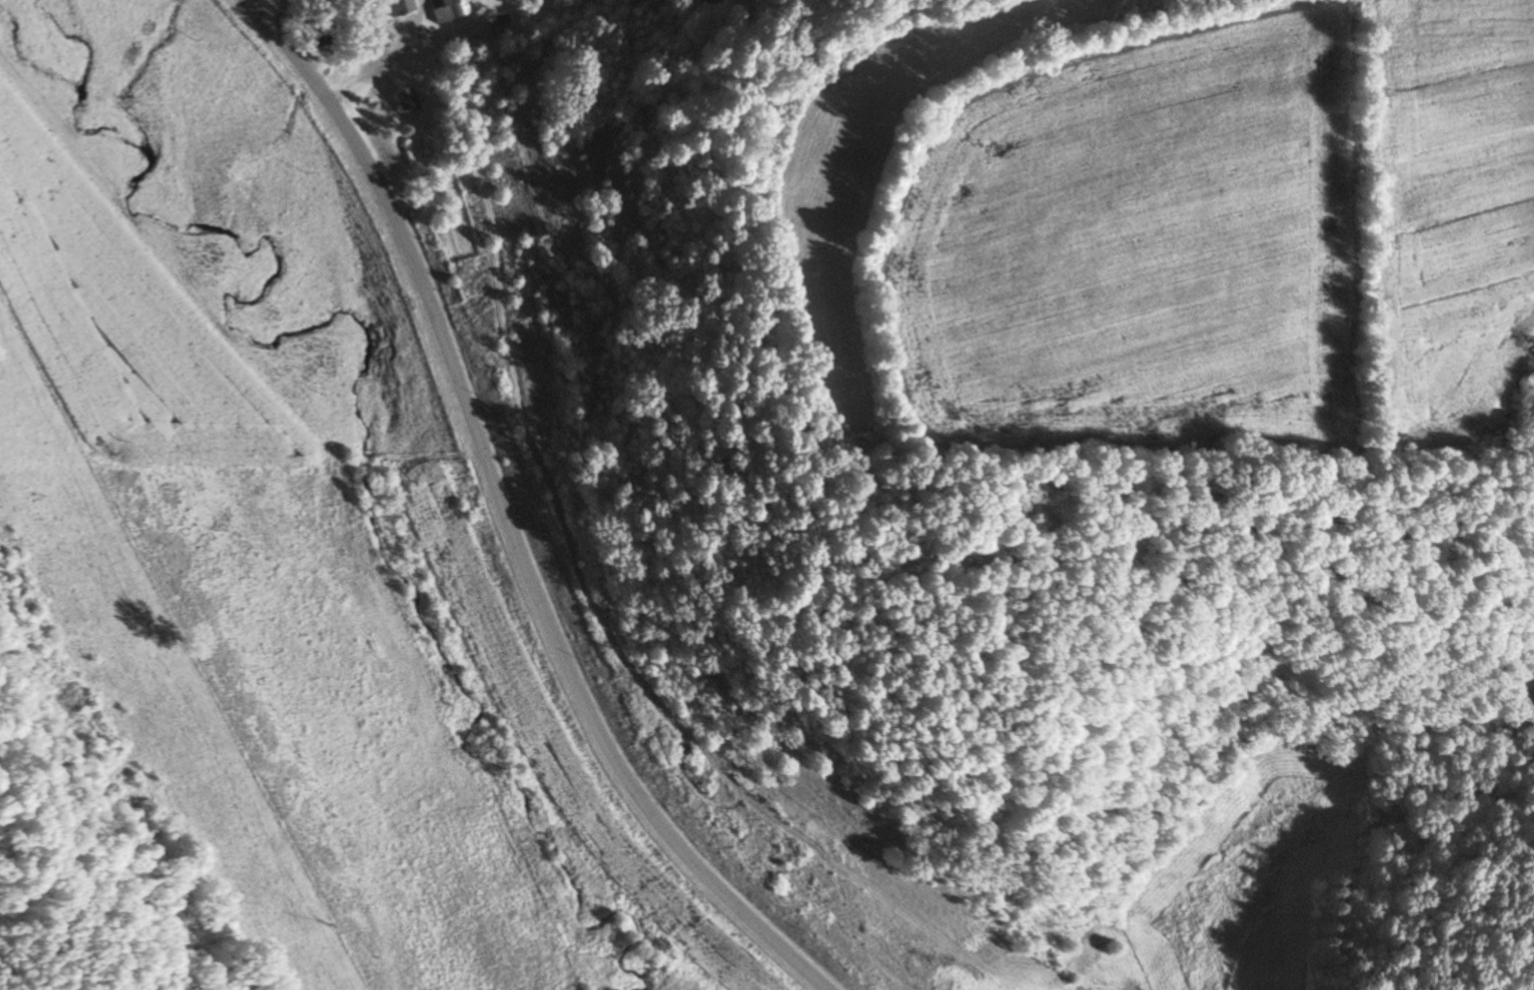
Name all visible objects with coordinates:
building: (398, 7)
building: (448, 10)
road: (281, 15)
building: (467, 42)
building: (403, 98)
road: (509, 515)
crop: (273, 595)

